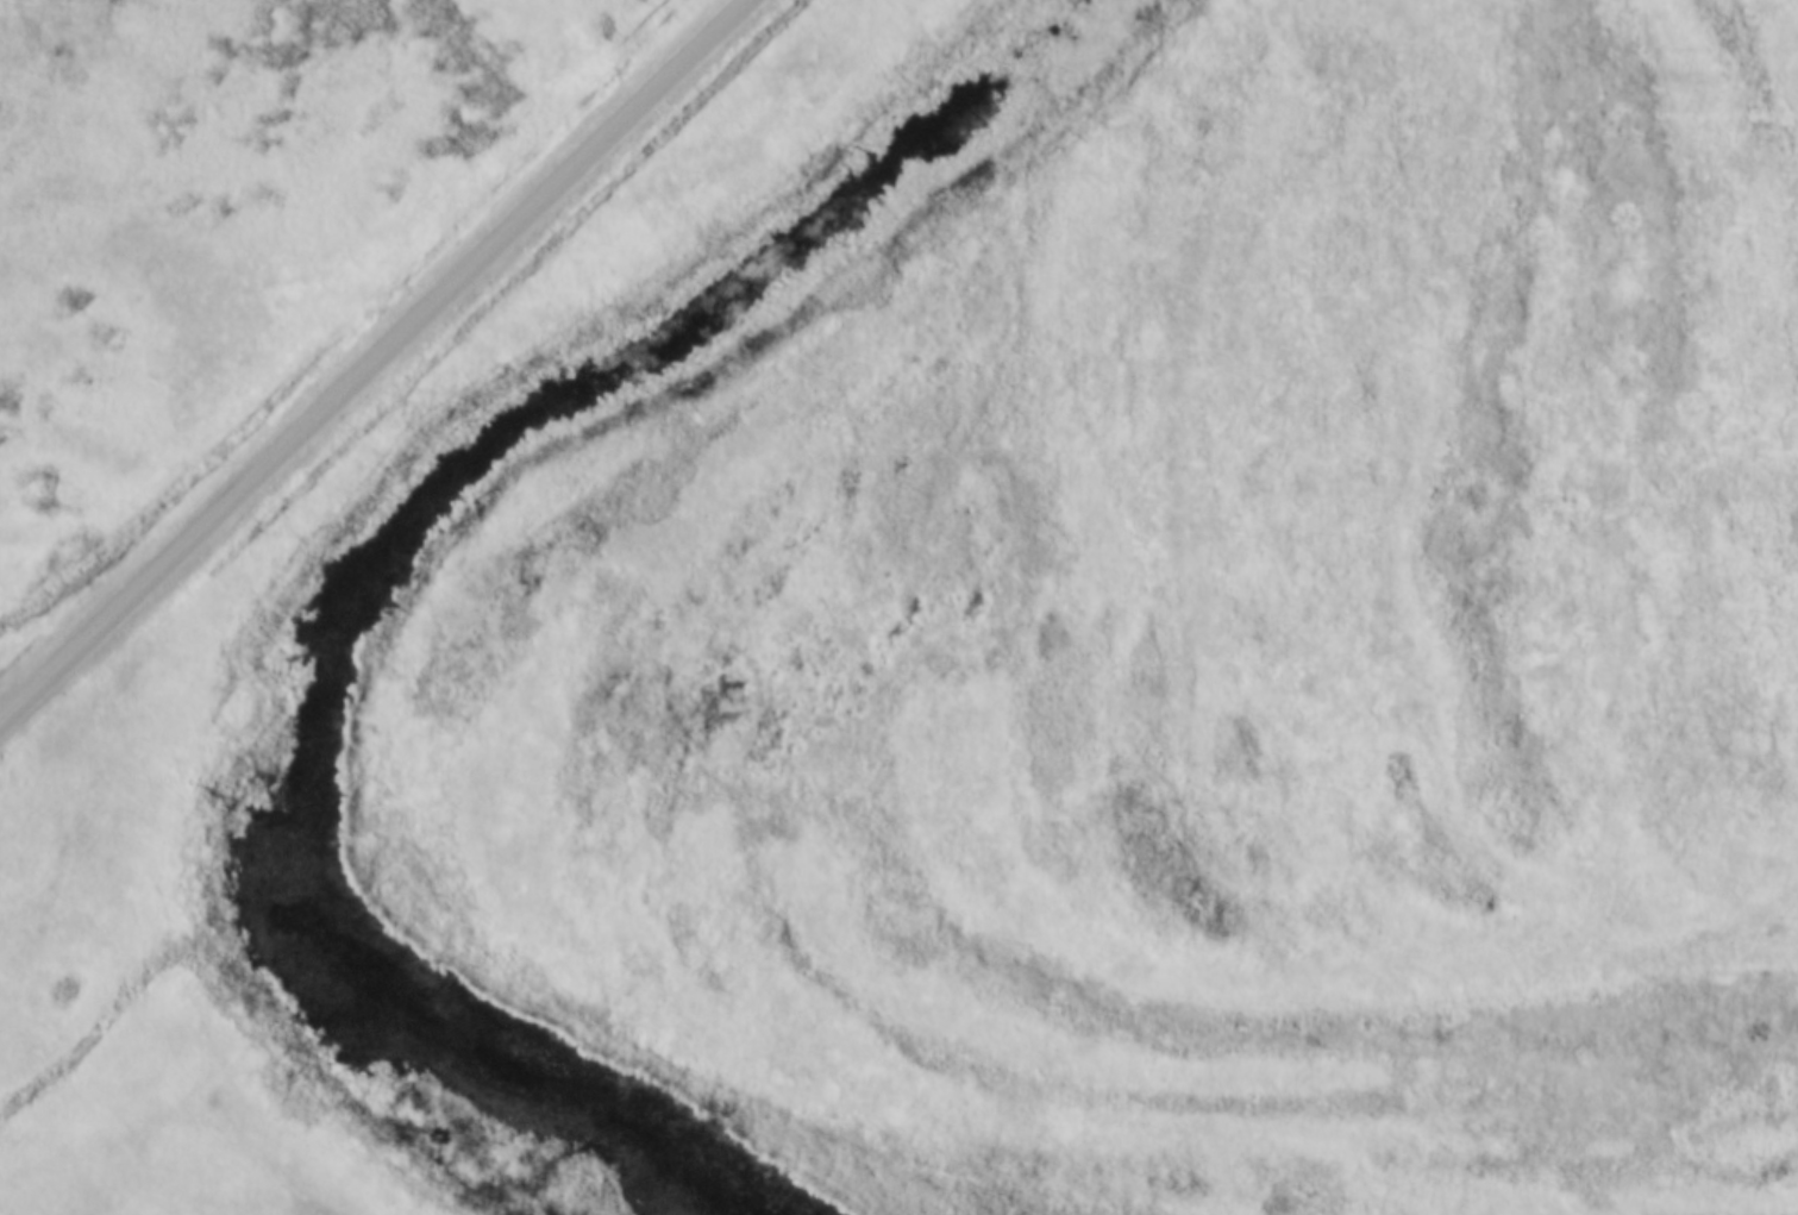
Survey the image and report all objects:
road: (372, 359)

